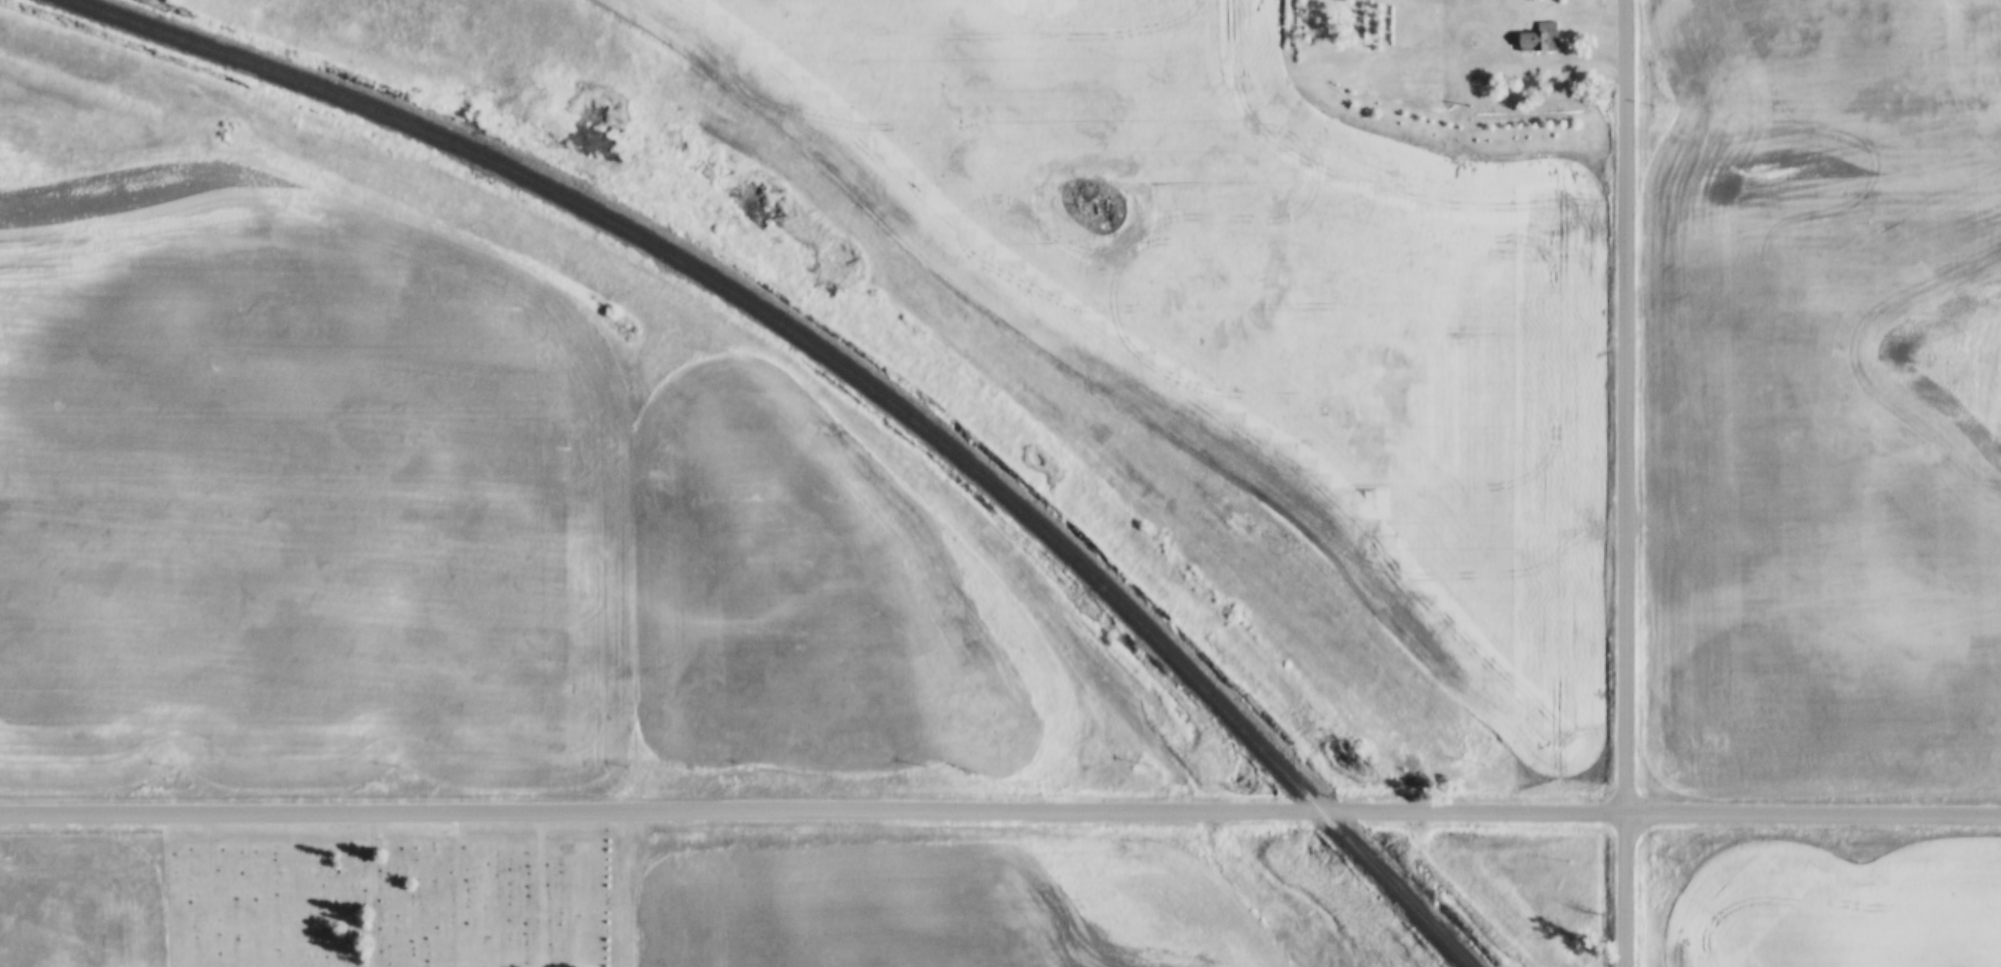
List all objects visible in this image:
building: (1535, 39)
road: (1554, 61)
crop: (1249, 288)
railway: (846, 370)
road: (1628, 483)
road: (1000, 813)
road: (381, 892)
park: (387, 903)

